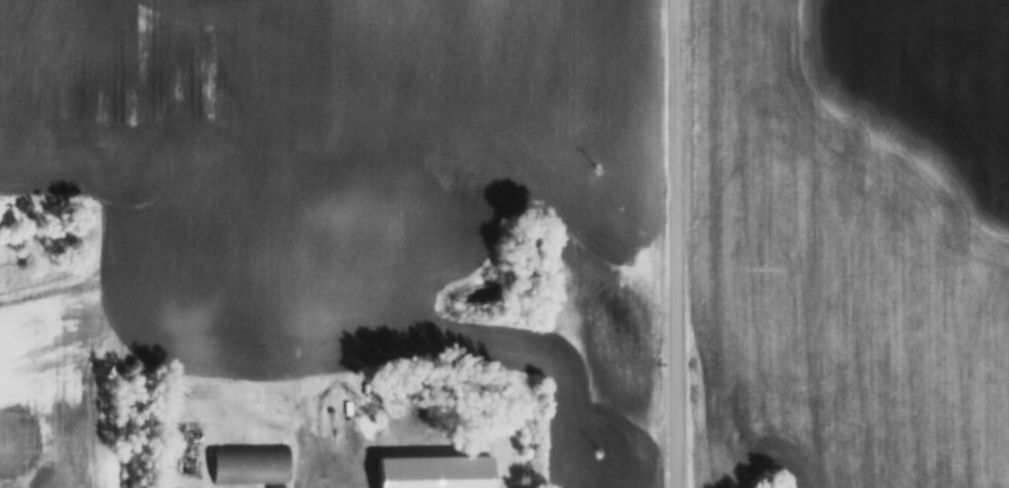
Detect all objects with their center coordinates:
road: (671, 244)
building: (340, 431)
road: (300, 460)
building: (248, 464)

